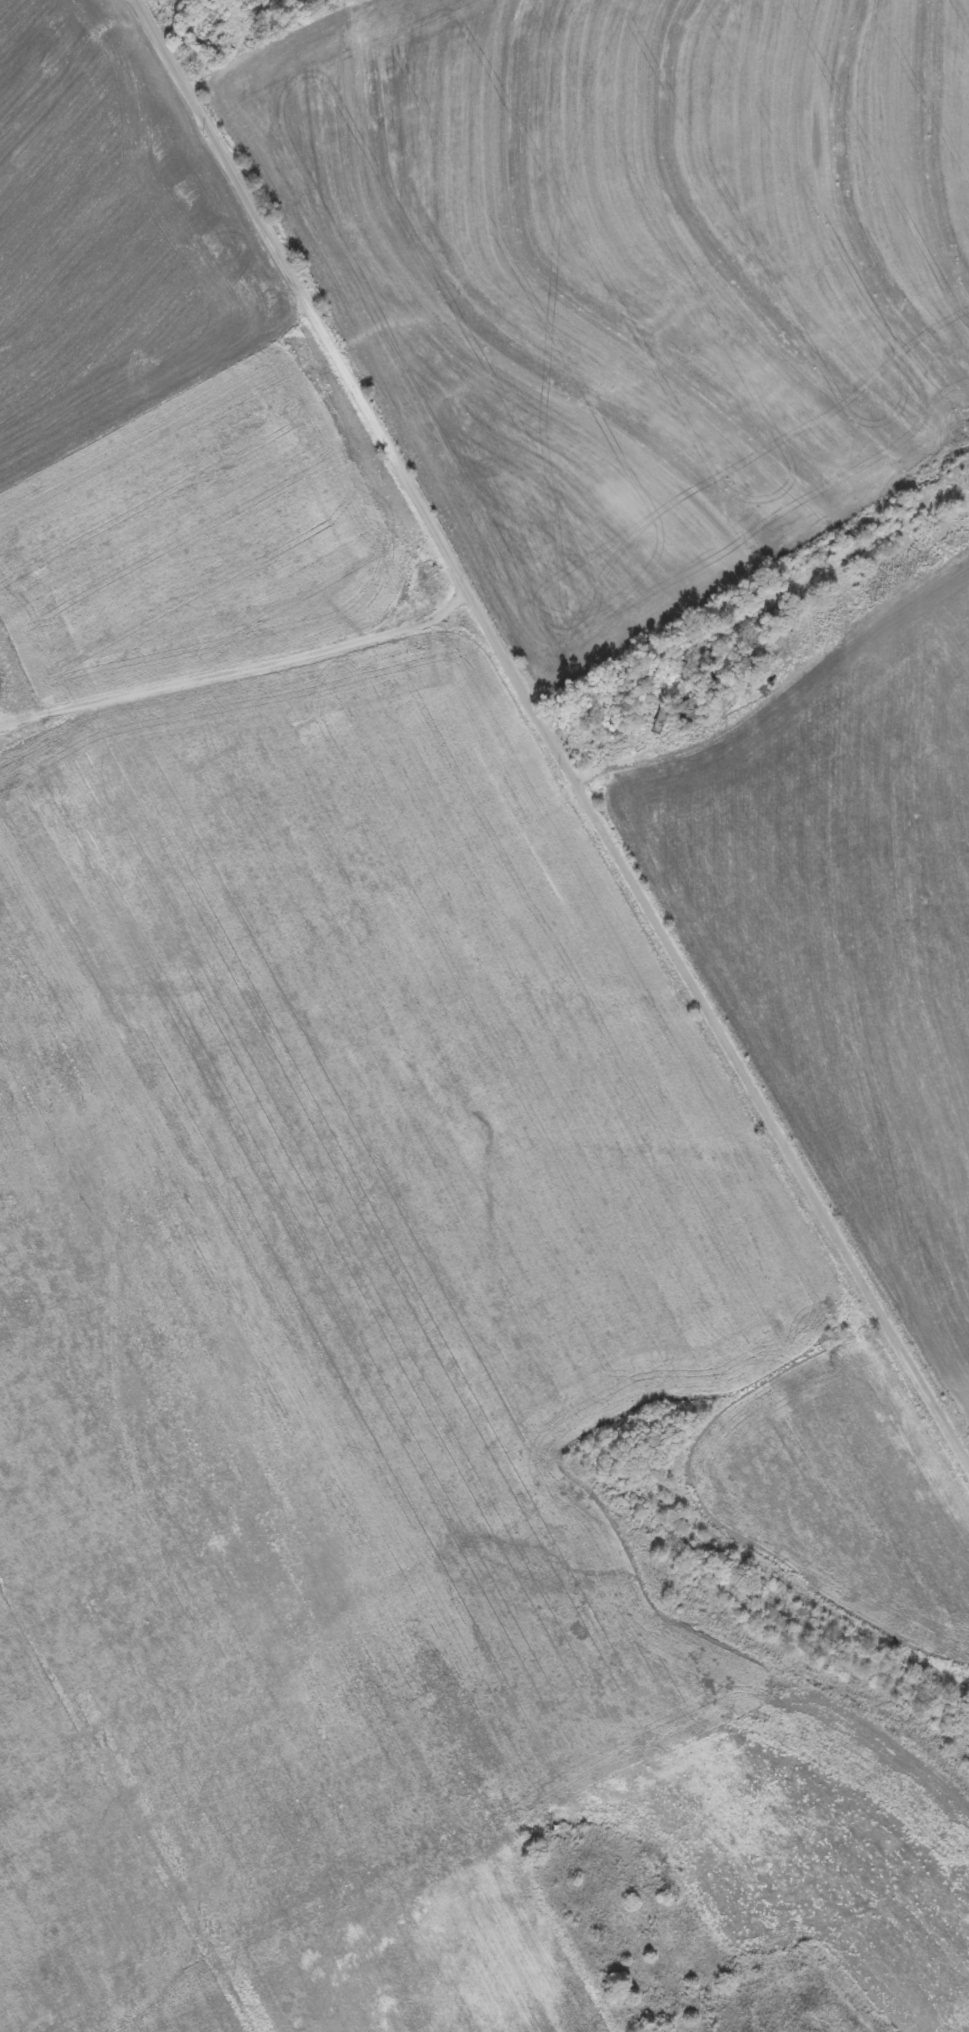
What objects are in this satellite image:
road: (70, 217)
road: (238, 667)
building: (451, 683)
road: (546, 738)
road: (109, 1007)

